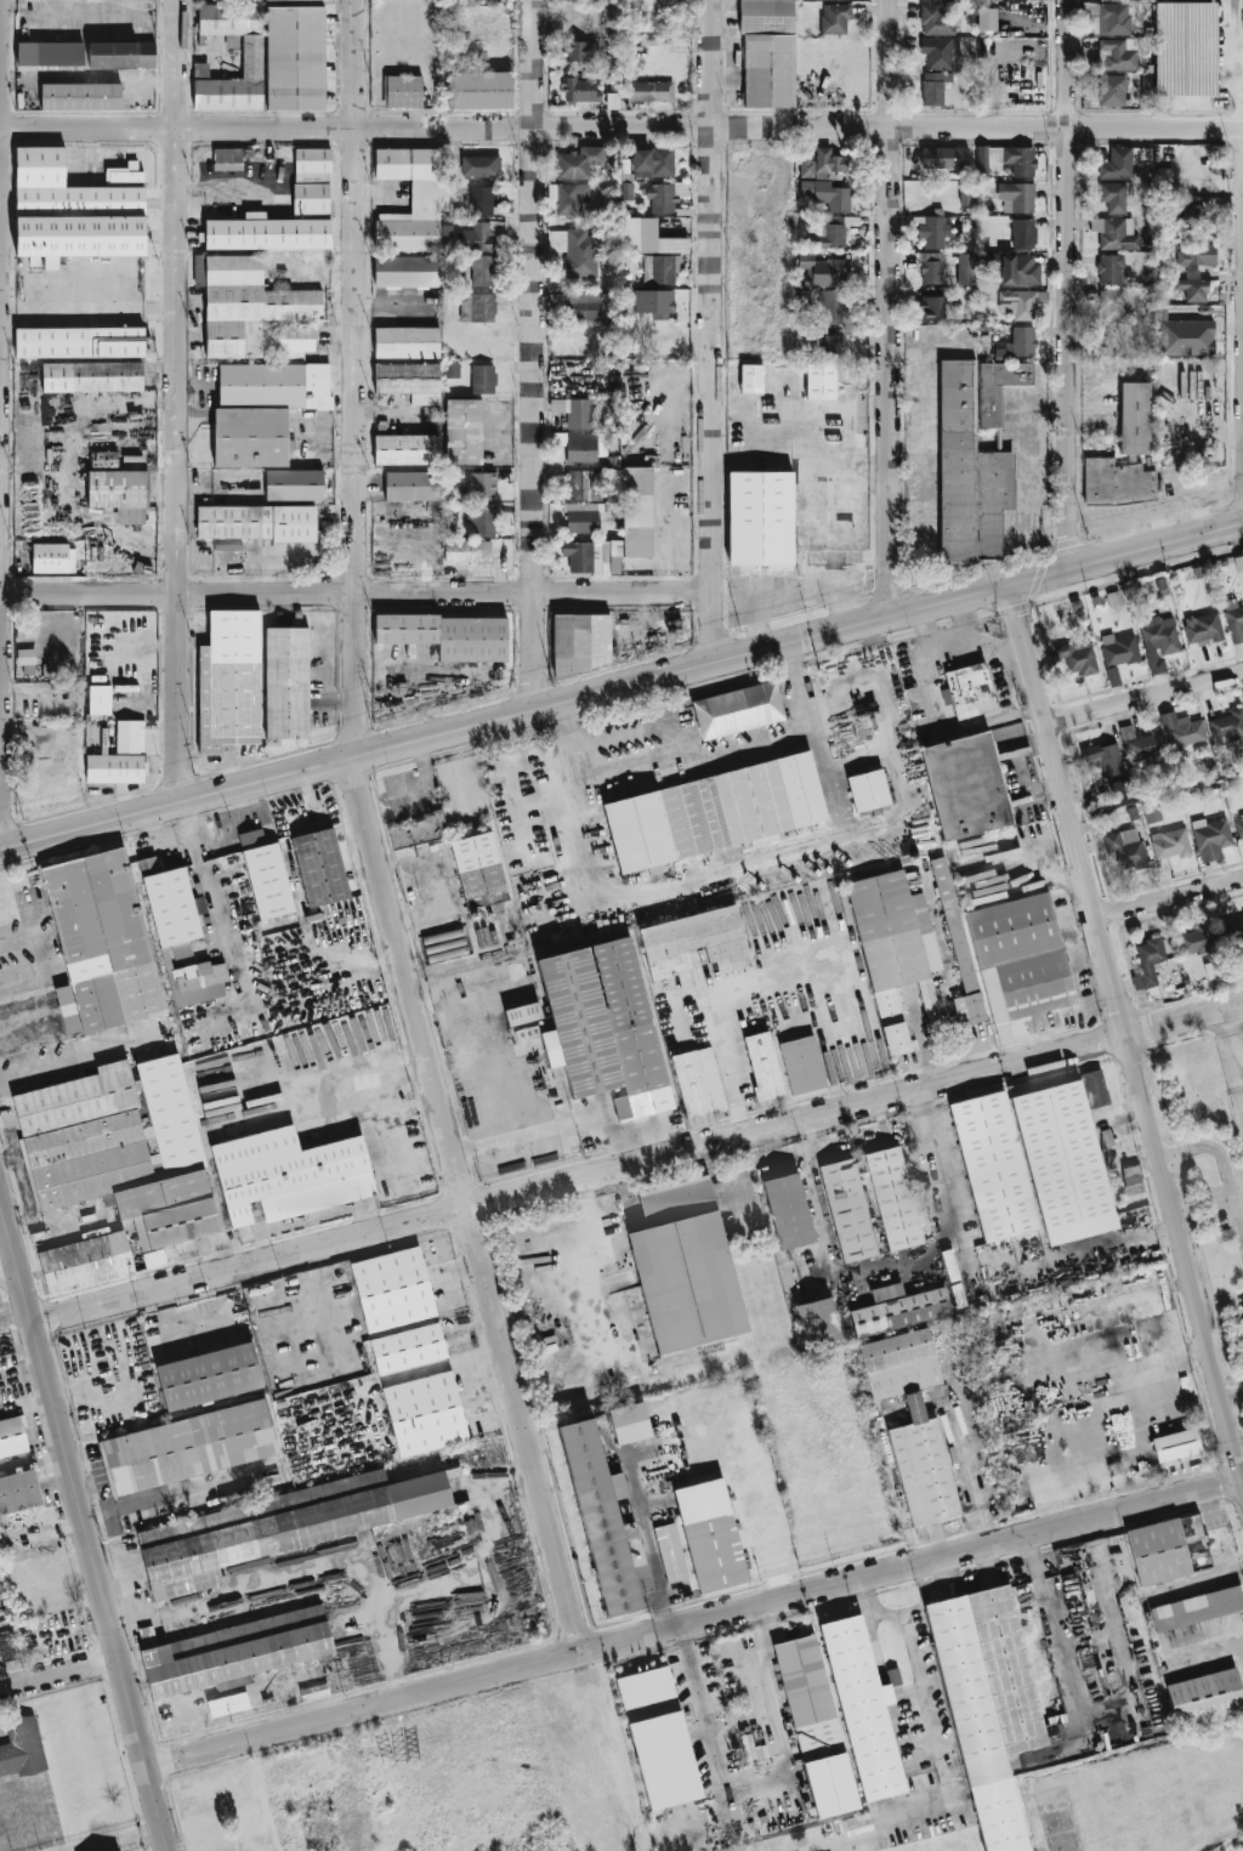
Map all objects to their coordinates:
building: (228, 0)
building: (490, 0)
building: (835, 17)
building: (986, 18)
building: (1111, 18)
building: (935, 19)
building: (605, 21)
building: (580, 24)
building: (1185, 47)
building: (581, 50)
building: (938, 50)
building: (1118, 52)
building: (50, 53)
building: (121, 53)
building: (767, 53)
building: (251, 56)
building: (295, 57)
building: (609, 64)
building: (200, 69)
building: (933, 86)
building: (479, 89)
building: (580, 89)
building: (402, 90)
building: (651, 90)
building: (1111, 90)
building: (80, 96)
building: (612, 100)
road: (841, 124)
road: (221, 127)
building: (229, 157)
building: (944, 157)
building: (1005, 159)
building: (578, 160)
building: (655, 160)
building: (1126, 161)
building: (821, 163)
building: (479, 165)
building: (124, 172)
building: (311, 180)
building: (626, 192)
building: (664, 194)
building: (827, 194)
building: (1114, 194)
building: (424, 195)
building: (571, 195)
building: (1017, 197)
building: (481, 199)
building: (72, 211)
road: (0, 220)
building: (935, 229)
building: (266, 232)
building: (1022, 232)
building: (1114, 232)
building: (629, 233)
building: (476, 235)
building: (830, 235)
building: (580, 252)
building: (1196, 252)
building: (660, 267)
building: (931, 267)
building: (965, 268)
building: (1018, 268)
building: (1109, 268)
building: (482, 269)
building: (822, 269)
building: (407, 271)
road: (1068, 284)
building: (1192, 288)
building: (244, 302)
building: (654, 302)
building: (1017, 302)
building: (584, 305)
building: (829, 305)
building: (1111, 305)
building: (476, 307)
road: (890, 307)
building: (931, 307)
road: (89, 311)
road: (711, 330)
building: (1185, 336)
building: (295, 340)
building: (79, 341)
building: (405, 341)
building: (1017, 342)
building: (833, 345)
road: (534, 354)
building: (452, 369)
building: (91, 375)
building: (405, 377)
building: (751, 377)
building: (482, 379)
building: (819, 380)
road: (177, 401)
building: (262, 409)
building: (573, 410)
building: (430, 413)
building: (1135, 418)
building: (462, 431)
building: (581, 447)
building: (405, 448)
building: (974, 456)
building: (103, 460)
building: (1117, 481)
building: (479, 483)
building: (293, 484)
building: (412, 484)
building: (584, 484)
building: (118, 493)
building: (828, 509)
building: (636, 512)
building: (583, 516)
building: (757, 518)
building: (484, 521)
building: (257, 522)
building: (466, 550)
building: (591, 556)
building: (52, 557)
building: (1238, 562)
building: (1160, 585)
road: (623, 592)
road: (178, 594)
road: (447, 594)
building: (1235, 623)
building: (1202, 626)
building: (448, 634)
building: (1158, 640)
building: (578, 641)
building: (1118, 648)
building: (1075, 655)
building: (27, 660)
building: (1112, 674)
building: (228, 680)
building: (286, 682)
road: (620, 686)
road: (801, 686)
building: (972, 691)
road: (1143, 695)
building: (98, 698)
building: (737, 709)
building: (1227, 725)
building: (1181, 729)
building: (129, 734)
building: (1142, 743)
road: (564, 746)
road: (1, 757)
building: (1101, 761)
building: (115, 767)
building: (961, 787)
building: (868, 790)
building: (711, 813)
building: (1151, 813)
building: (1239, 827)
building: (418, 830)
road: (188, 833)
building: (251, 838)
road: (371, 838)
building: (1210, 838)
building: (1169, 842)
building: (1125, 848)
building: (319, 867)
building: (478, 869)
building: (268, 880)
road: (1169, 897)
building: (169, 902)
road: (601, 910)
building: (1232, 927)
road: (221, 929)
building: (691, 939)
building: (1196, 939)
building: (100, 942)
building: (957, 946)
building: (895, 949)
road: (17, 952)
road: (840, 961)
building: (1020, 961)
building: (1147, 963)
building: (198, 982)
building: (522, 1013)
building: (603, 1026)
road: (1128, 1038)
road: (1232, 1051)
road: (725, 1064)
building: (762, 1064)
building: (802, 1064)
road: (30, 1081)
building: (698, 1081)
building: (1094, 1088)
road: (308, 1102)
road: (1130, 1118)
road: (1119, 1145)
building: (119, 1147)
road: (1215, 1148)
road: (7, 1158)
road: (636, 1162)
building: (1032, 1165)
building: (289, 1174)
road: (21, 1175)
building: (1131, 1179)
building: (893, 1198)
building: (847, 1209)
building: (788, 1210)
road: (595, 1236)
building: (153, 1257)
building: (84, 1261)
road: (8, 1268)
building: (680, 1268)
road: (896, 1277)
building: (390, 1290)
road: (540, 1308)
building: (898, 1308)
road: (1066, 1313)
building: (817, 1321)
building: (885, 1334)
building: (405, 1350)
road: (1167, 1358)
road: (628, 1369)
road: (415, 1374)
building: (208, 1376)
road: (1091, 1378)
road: (1232, 1395)
building: (424, 1415)
building: (629, 1421)
building: (912, 1421)
building: (11, 1436)
building: (1175, 1443)
building: (189, 1446)
building: (18, 1491)
road: (978, 1501)
building: (605, 1522)
road: (84, 1524)
building: (278, 1526)
building: (710, 1534)
road: (649, 1538)
building: (1168, 1549)
building: (670, 1552)
building: (1197, 1607)
road: (696, 1620)
road: (770, 1639)
road: (1205, 1642)
building: (7, 1647)
building: (233, 1652)
road: (1073, 1668)
road: (59, 1675)
road: (919, 1677)
building: (313, 1691)
building: (1205, 1697)
building: (227, 1704)
building: (989, 1705)
building: (863, 1708)
building: (816, 1726)
building: (658, 1737)
building: (22, 1748)
road: (733, 1782)
building: (857, 1824)
road: (879, 1829)

